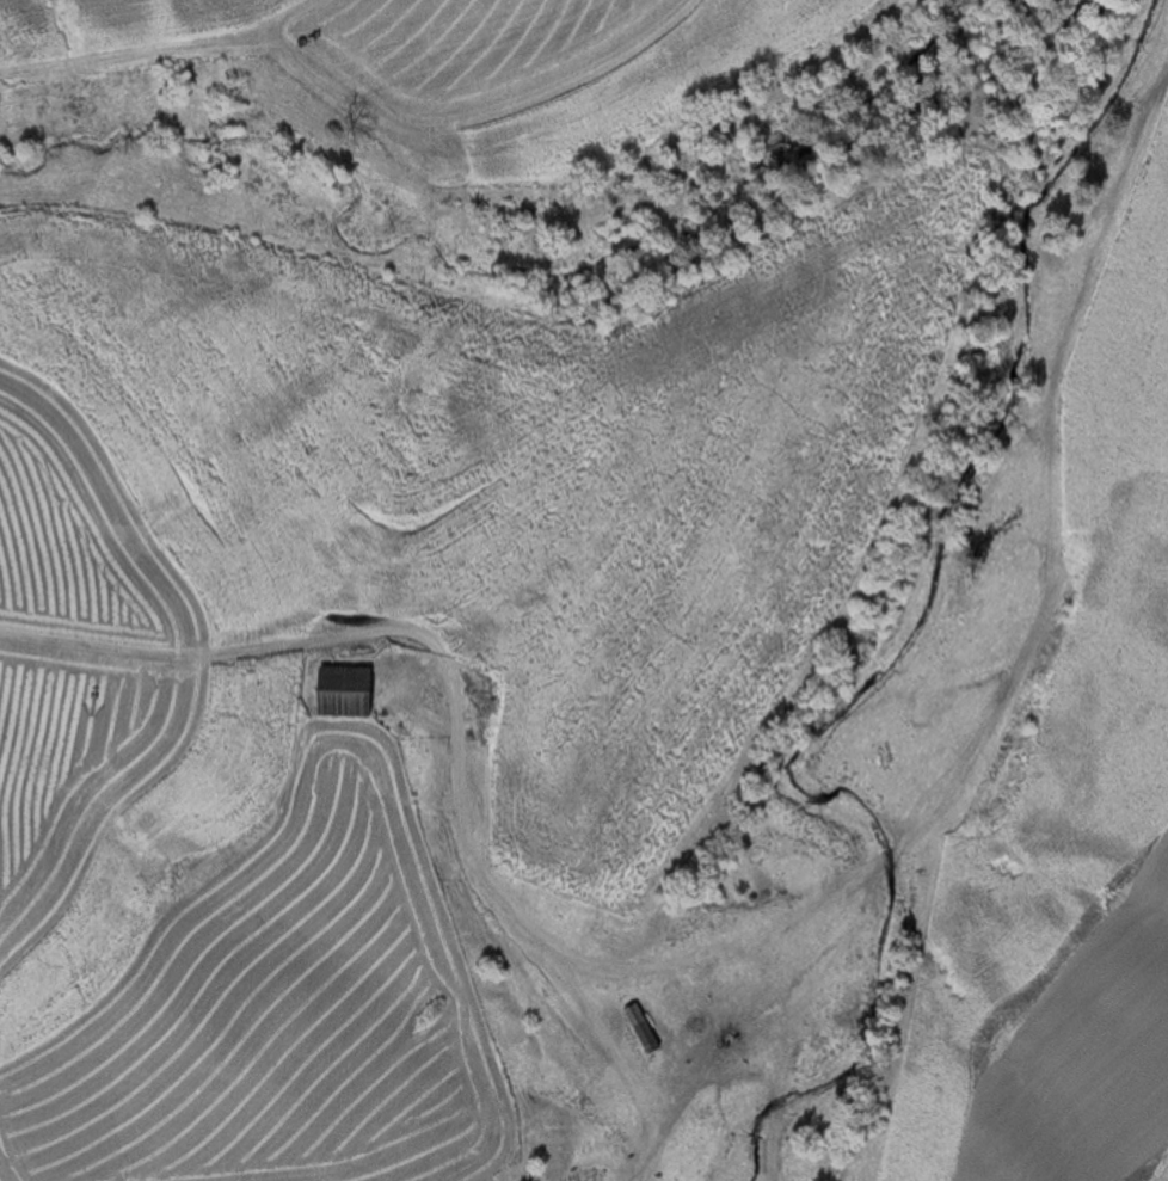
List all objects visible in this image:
building: (336, 693)
building: (638, 1028)

